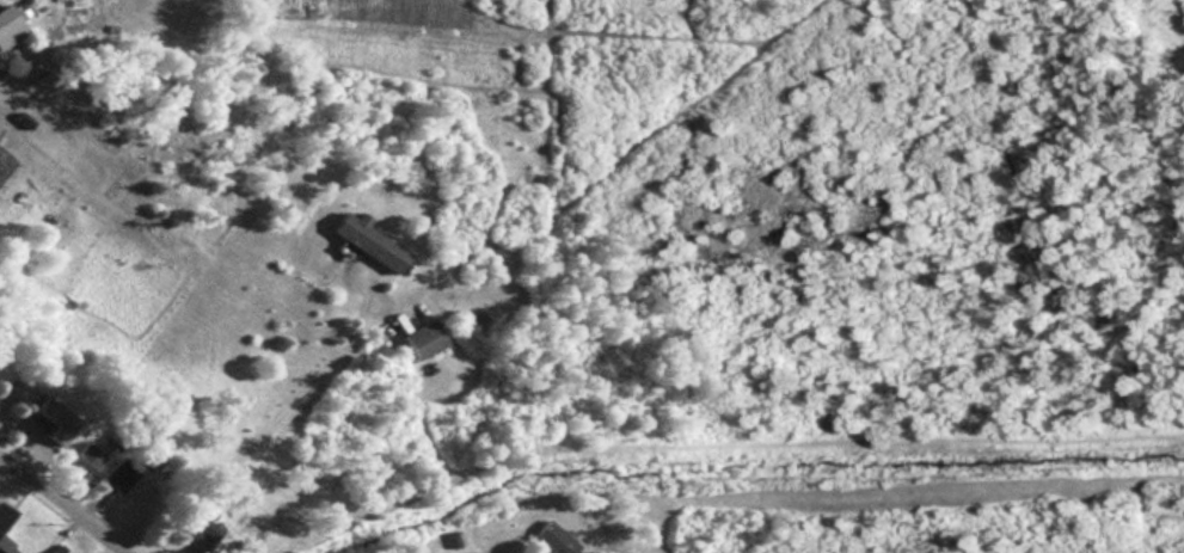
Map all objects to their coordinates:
building: (8, 25)
building: (367, 240)
building: (423, 338)
building: (56, 416)
road: (265, 424)
building: (81, 462)
building: (118, 475)
road: (61, 506)
building: (4, 515)
building: (551, 539)
building: (6, 546)
building: (238, 548)

